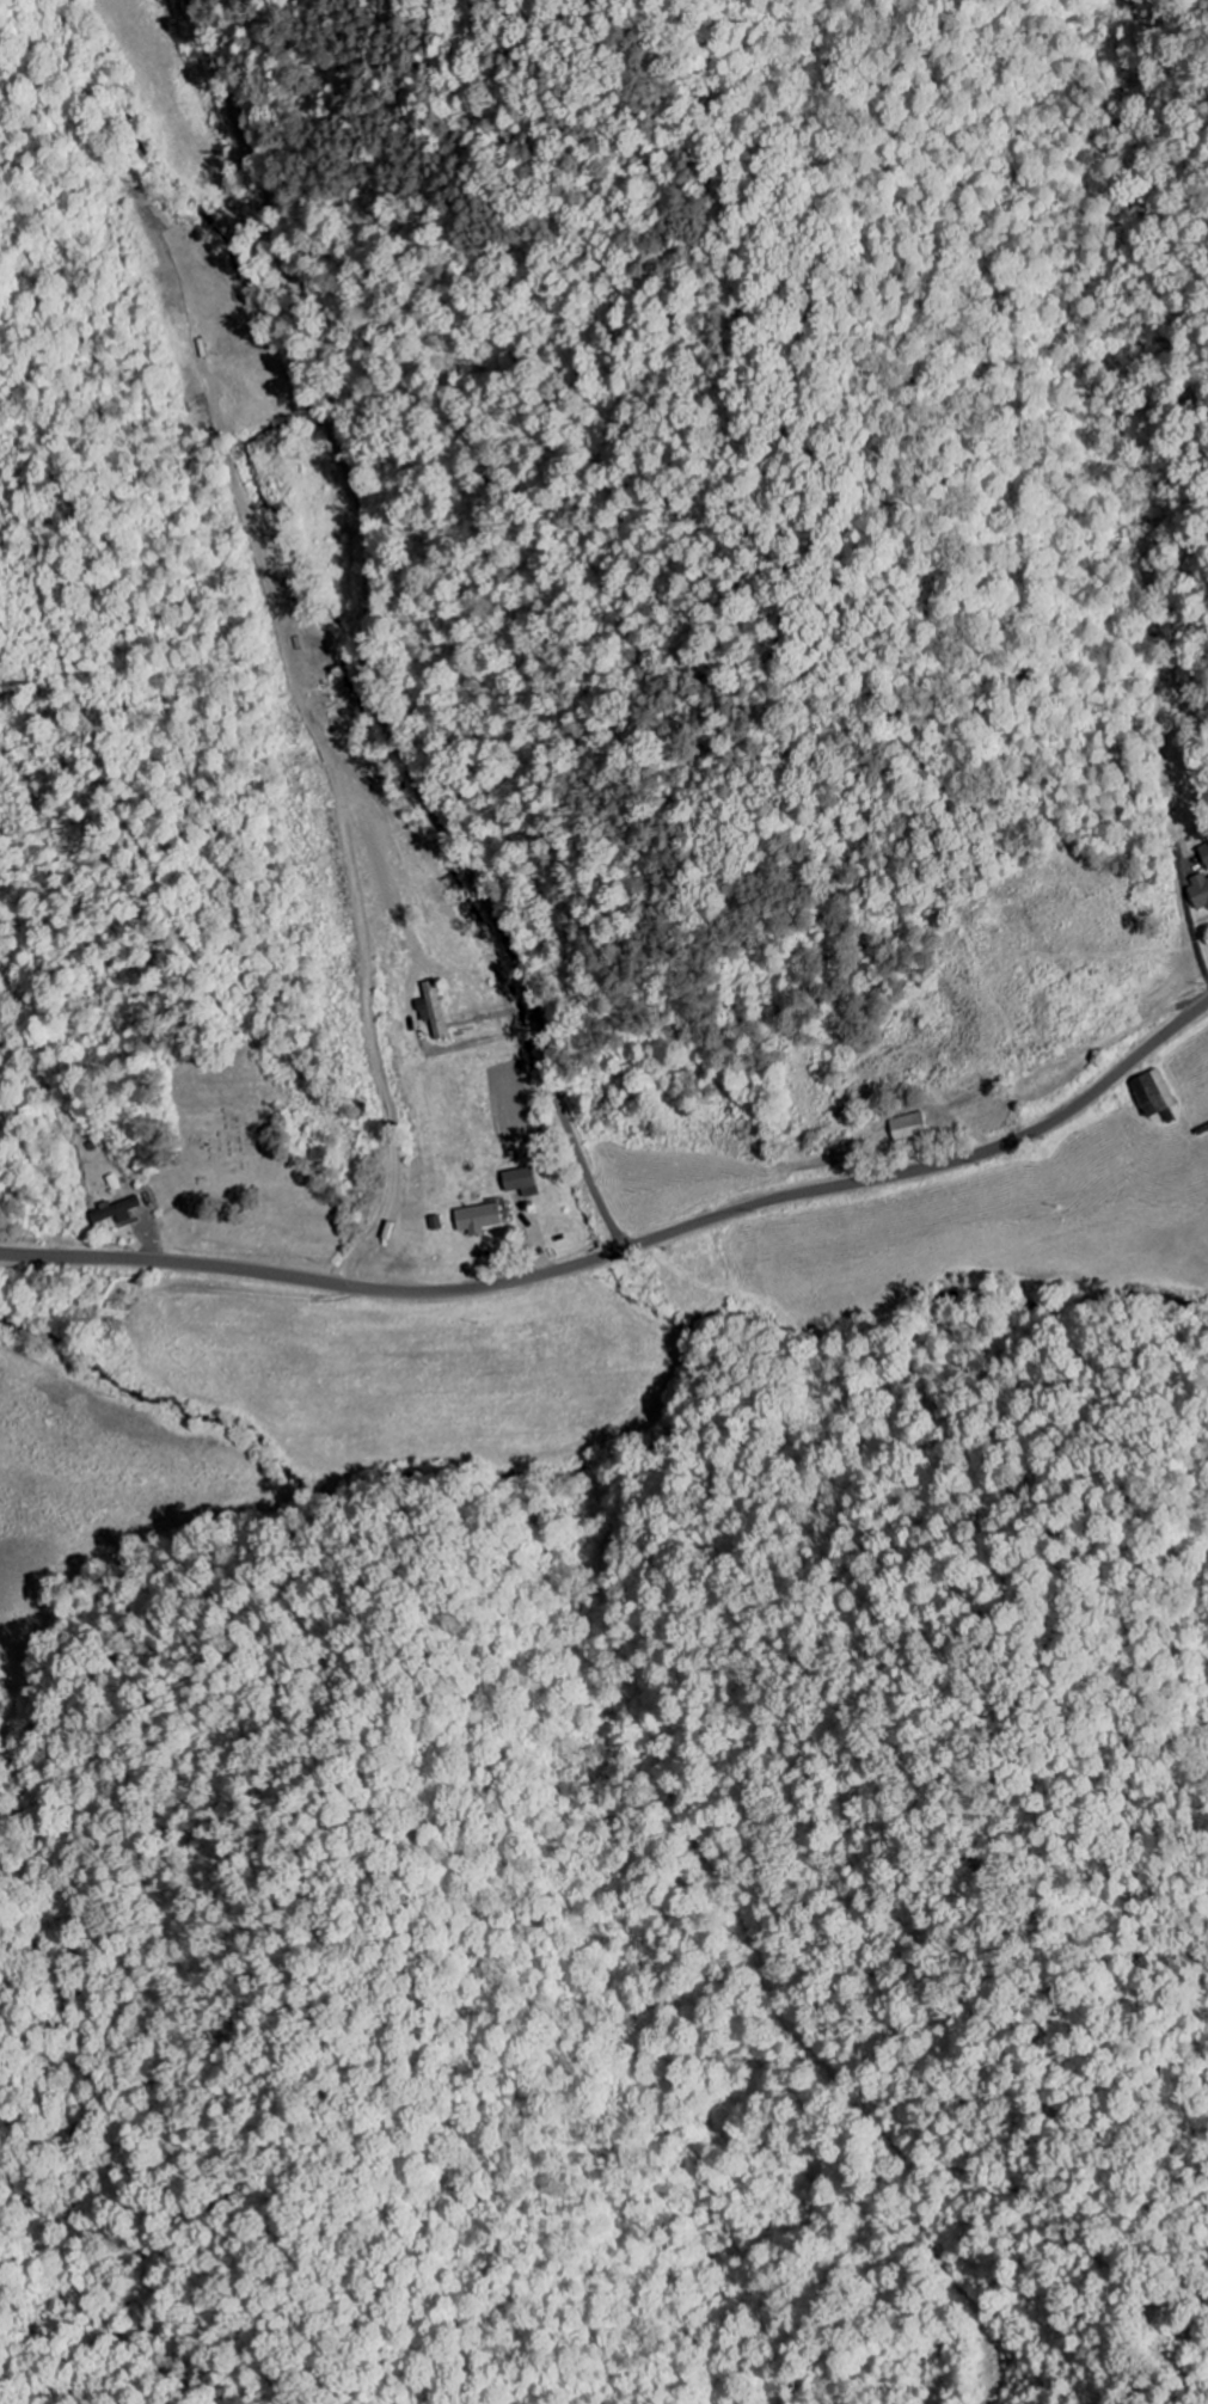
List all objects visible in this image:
road: (369, 639)
building: (1204, 853)
building: (1200, 894)
building: (431, 1011)
building: (1152, 1093)
building: (909, 1129)
building: (520, 1183)
building: (116, 1212)
building: (477, 1219)
road: (630, 1249)

